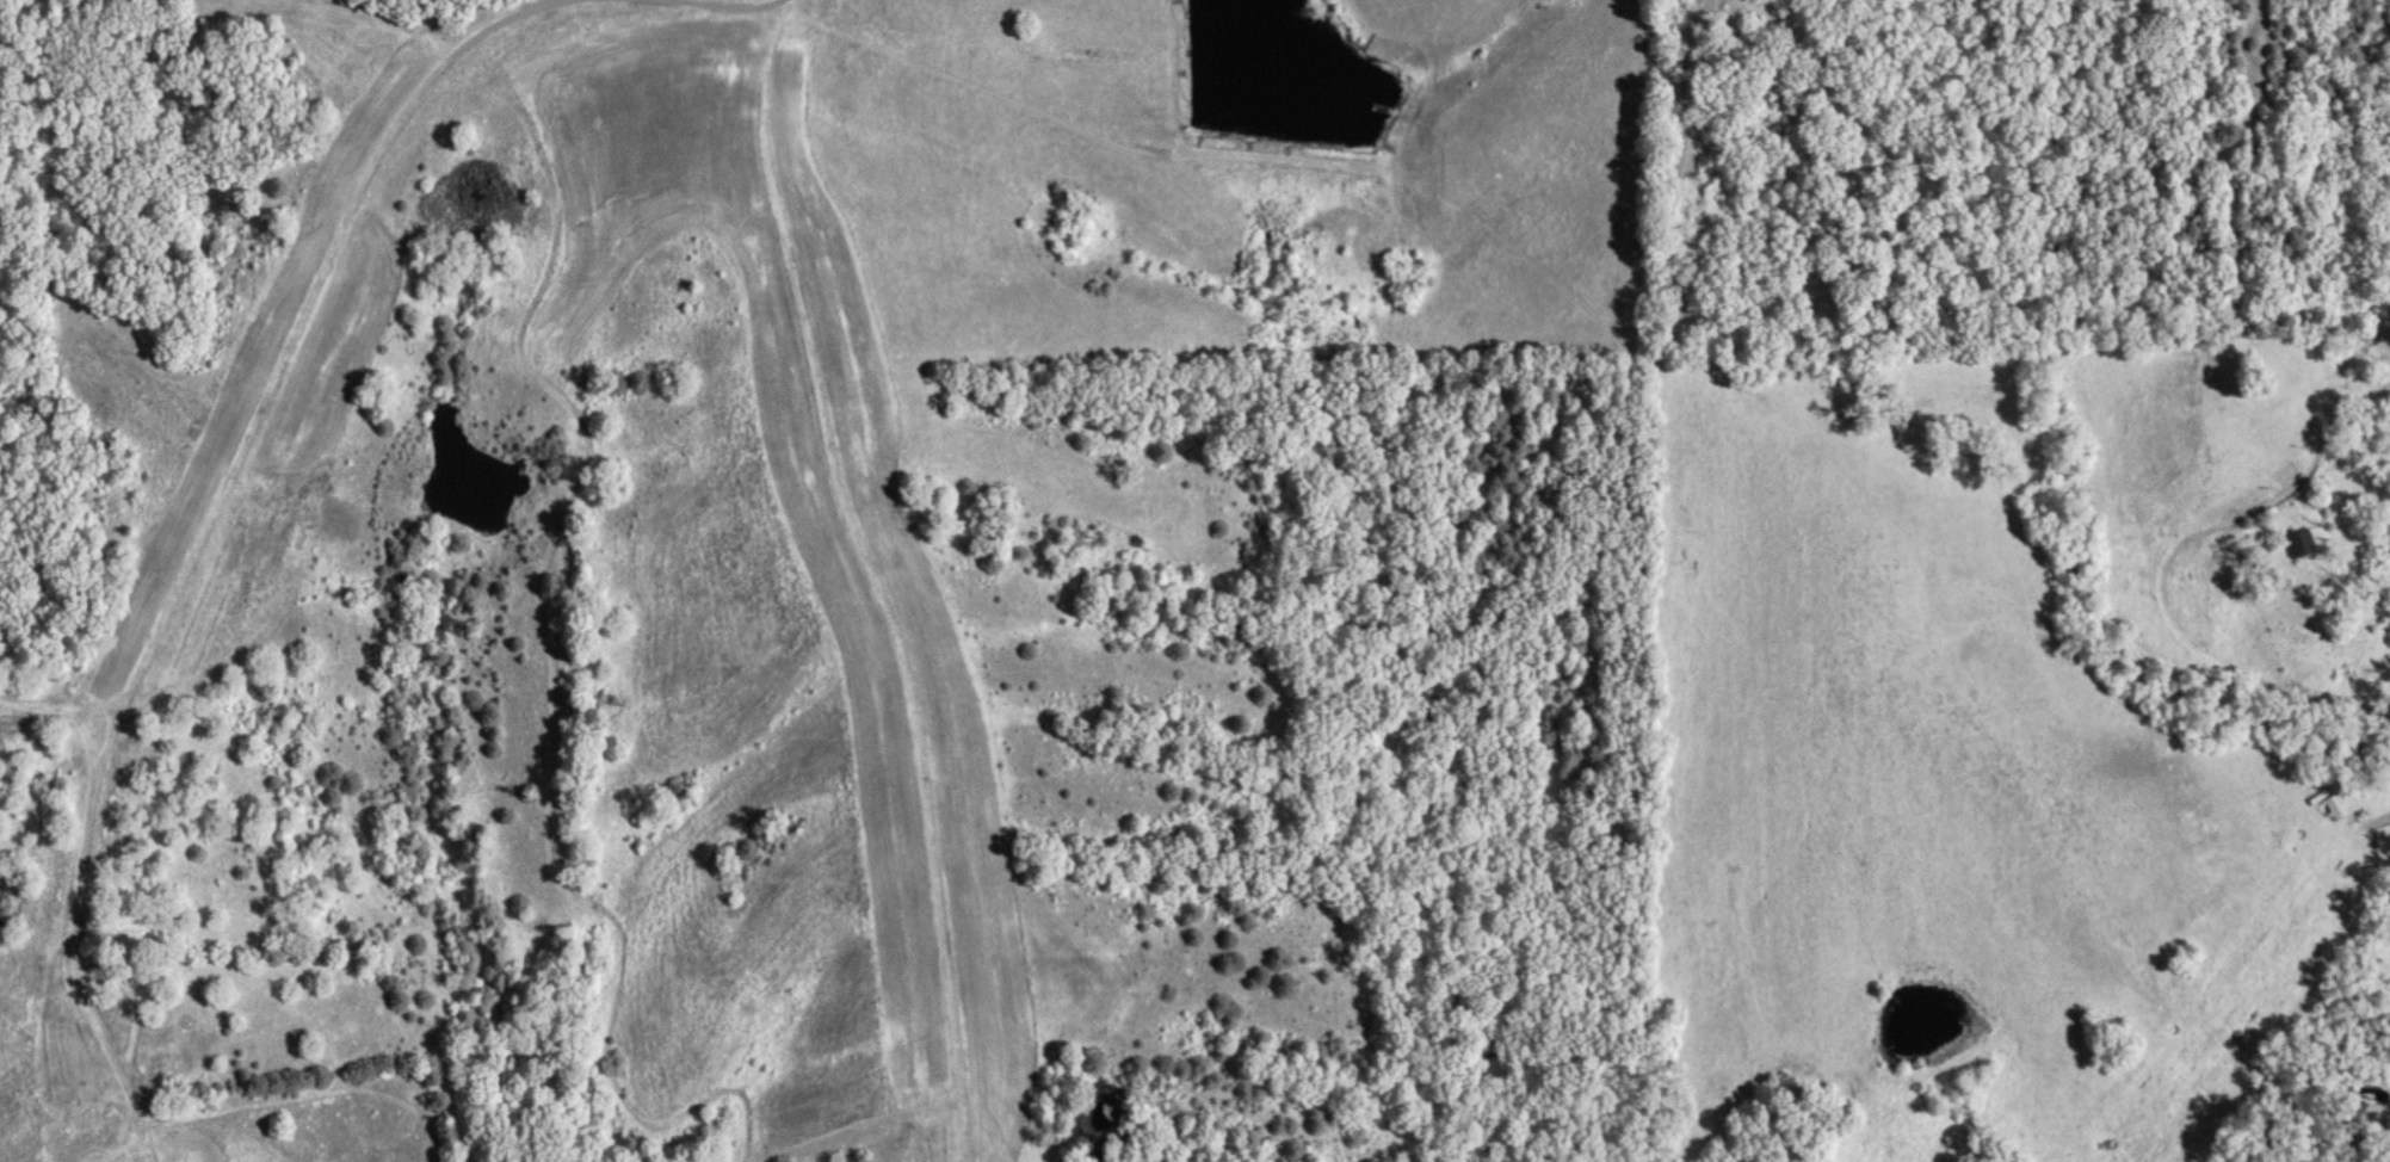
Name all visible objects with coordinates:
building: (2301, 543)
road: (2211, 555)
building: (2335, 806)
road: (2382, 823)

